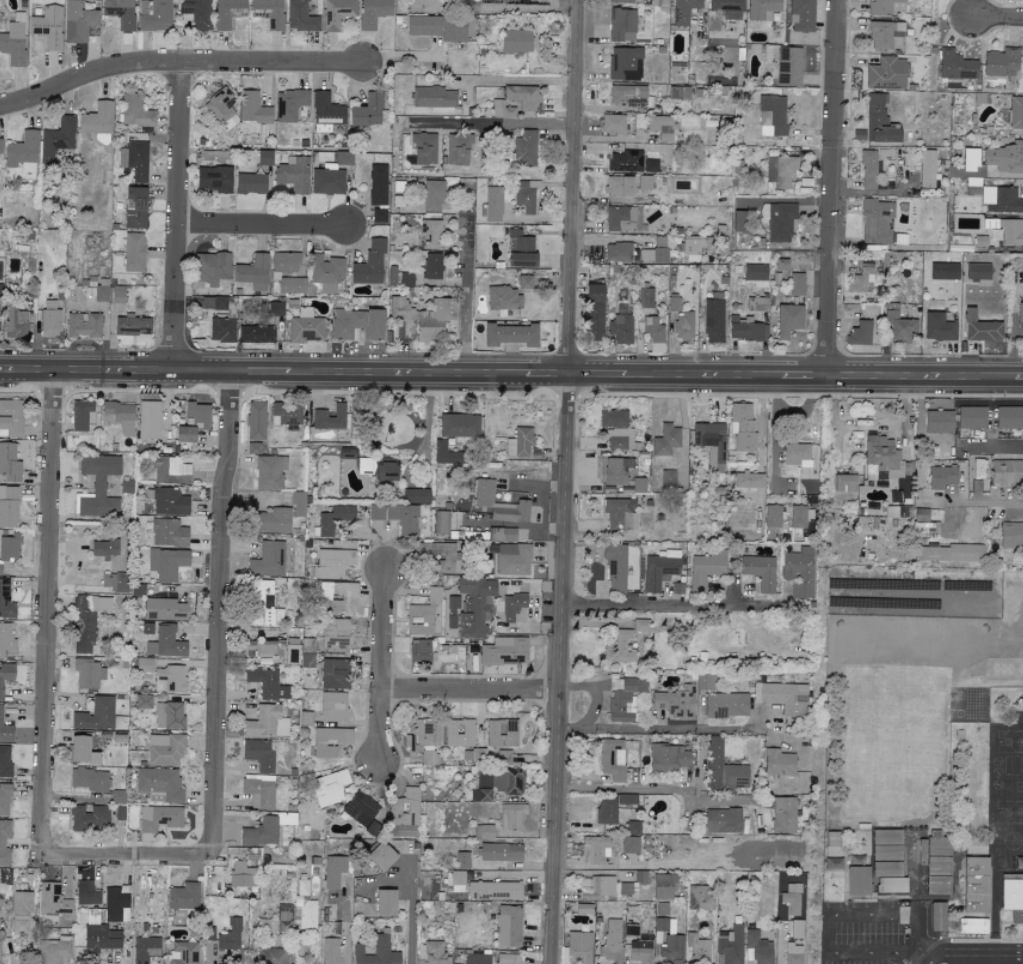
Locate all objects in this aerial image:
building: (504, 0)
building: (626, 1)
building: (426, 5)
building: (887, 6)
road: (525, 8)
building: (727, 8)
building: (762, 9)
building: (683, 11)
building: (120, 12)
building: (228, 12)
building: (268, 12)
building: (337, 12)
building: (373, 12)
building: (196, 13)
building: (155, 14)
building: (801, 15)
building: (300, 17)
road: (998, 19)
building: (77, 21)
building: (622, 24)
building: (48, 26)
building: (443, 27)
building: (884, 33)
building: (515, 40)
building: (1000, 62)
road: (176, 63)
building: (624, 63)
building: (788, 65)
building: (955, 65)
building: (886, 73)
road: (516, 81)
building: (674, 92)
building: (627, 95)
building: (523, 96)
building: (434, 97)
building: (289, 103)
building: (219, 105)
building: (252, 108)
building: (326, 109)
building: (501, 109)
building: (366, 110)
building: (133, 112)
building: (1015, 112)
building: (772, 115)
building: (97, 121)
building: (877, 121)
building: (613, 123)
road: (509, 124)
building: (661, 127)
building: (57, 138)
building: (424, 148)
building: (458, 148)
building: (524, 148)
building: (22, 152)
building: (264, 157)
building: (343, 157)
building: (1005, 157)
building: (134, 159)
building: (969, 159)
building: (625, 161)
building: (650, 165)
building: (926, 168)
building: (868, 169)
building: (780, 171)
building: (293, 174)
building: (213, 178)
building: (327, 181)
building: (644, 182)
building: (250, 183)
building: (377, 184)
building: (619, 185)
building: (973, 186)
road: (831, 189)
building: (433, 195)
building: (525, 195)
building: (1001, 200)
building: (493, 204)
building: (134, 207)
building: (379, 215)
road: (176, 218)
building: (620, 218)
building: (740, 220)
building: (778, 220)
building: (876, 221)
road: (260, 228)
building: (1006, 229)
building: (430, 233)
building: (980, 241)
building: (691, 248)
building: (520, 249)
building: (133, 251)
building: (618, 251)
building: (655, 251)
building: (369, 263)
building: (781, 264)
building: (431, 265)
building: (210, 267)
building: (944, 270)
building: (978, 271)
building: (326, 272)
building: (253, 273)
building: (275, 274)
building: (756, 274)
building: (392, 275)
building: (406, 278)
building: (861, 279)
building: (525, 281)
building: (796, 283)
building: (101, 293)
building: (118, 294)
road: (465, 294)
building: (503, 297)
building: (645, 298)
building: (757, 303)
building: (673, 304)
building: (594, 312)
building: (423, 316)
building: (713, 317)
building: (50, 319)
building: (220, 319)
building: (1020, 319)
building: (788, 320)
building: (15, 322)
building: (358, 323)
building: (899, 324)
building: (83, 325)
building: (132, 325)
building: (621, 325)
building: (683, 325)
building: (305, 327)
building: (938, 327)
building: (980, 328)
building: (746, 329)
building: (859, 333)
building: (255, 334)
building: (511, 334)
building: (653, 334)
road: (511, 376)
building: (83, 414)
building: (286, 415)
building: (118, 416)
building: (971, 417)
building: (1009, 417)
building: (11, 418)
building: (613, 418)
building: (149, 419)
building: (330, 419)
building: (256, 420)
building: (938, 421)
building: (193, 422)
building: (459, 425)
building: (742, 426)
road: (774, 430)
building: (615, 438)
building: (520, 442)
building: (664, 443)
building: (711, 443)
building: (253, 448)
building: (449, 454)
building: (796, 455)
building: (881, 456)
building: (9, 463)
building: (978, 468)
building: (379, 469)
building: (171, 470)
building: (615, 471)
building: (1006, 471)
building: (270, 472)
building: (942, 478)
building: (667, 479)
building: (748, 480)
road: (564, 482)
building: (844, 482)
building: (638, 485)
building: (97, 486)
building: (112, 486)
building: (126, 486)
building: (416, 496)
building: (168, 501)
building: (298, 503)
building: (499, 503)
building: (8, 506)
road: (1014, 508)
building: (897, 511)
building: (375, 512)
building: (620, 515)
building: (772, 515)
building: (925, 515)
building: (404, 519)
building: (798, 519)
building: (271, 520)
building: (454, 520)
building: (441, 522)
building: (326, 524)
building: (169, 532)
building: (503, 534)
building: (1011, 534)
building: (9, 548)
building: (105, 548)
building: (949, 553)
building: (439, 558)
building: (512, 558)
building: (268, 559)
building: (167, 563)
building: (333, 563)
building: (615, 567)
building: (659, 568)
building: (704, 570)
building: (761, 571)
building: (799, 571)
building: (116, 582)
building: (152, 588)
building: (677, 588)
building: (138, 590)
building: (336, 596)
building: (6, 600)
road: (49, 601)
building: (262, 605)
road: (667, 605)
road: (220, 606)
building: (513, 606)
building: (475, 607)
building: (165, 609)
building: (452, 612)
building: (423, 614)
building: (88, 620)
building: (640, 625)
building: (147, 629)
building: (335, 635)
building: (6, 639)
building: (166, 642)
building: (622, 646)
building: (264, 648)
building: (420, 651)
building: (504, 651)
building: (123, 664)
building: (145, 665)
road: (384, 667)
building: (88, 673)
building: (335, 674)
building: (6, 678)
building: (170, 680)
building: (704, 681)
building: (267, 683)
road: (472, 691)
building: (622, 697)
building: (783, 697)
building: (143, 702)
building: (675, 702)
building: (726, 705)
building: (333, 707)
building: (99, 716)
building: (169, 716)
building: (267, 723)
road: (655, 728)
building: (5, 731)
building: (460, 733)
building: (503, 733)
building: (119, 738)
building: (425, 739)
building: (331, 742)
building: (165, 750)
building: (82, 751)
building: (262, 754)
building: (503, 756)
building: (479, 757)
building: (668, 757)
building: (611, 758)
building: (5, 762)
building: (778, 762)
building: (722, 769)
building: (89, 780)
building: (502, 780)
building: (159, 786)
building: (330, 788)
building: (259, 791)
road: (623, 792)
building: (477, 795)
building: (118, 797)
building: (626, 798)
building: (5, 799)
building: (361, 809)
building: (606, 810)
building: (120, 814)
building: (405, 814)
building: (783, 815)
building: (513, 817)
building: (89, 818)
building: (159, 818)
building: (722, 821)
building: (633, 827)
building: (374, 829)
building: (267, 830)
building: (483, 831)
building: (886, 836)
building: (832, 839)
building: (2, 844)
building: (630, 844)
building: (932, 848)
building: (596, 849)
building: (886, 852)
building: (500, 853)
road: (126, 855)
building: (382, 857)
building: (462, 860)
building: (938, 865)
building: (886, 869)
building: (334, 871)
building: (242, 875)
building: (456, 881)
building: (857, 881)
building: (975, 884)
building: (891, 885)
building: (937, 885)
building: (597, 887)
building: (663, 887)
building: (624, 888)
building: (495, 891)
building: (87, 894)
building: (699, 898)
building: (792, 898)
building: (183, 899)
building: (1012, 899)
building: (53, 902)
building: (386, 903)
building: (117, 904)
building: (304, 907)
building: (583, 908)
building: (662, 908)
building: (21, 910)
road: (410, 914)
road: (836, 915)
building: (938, 916)
building: (284, 920)
road: (345, 923)
building: (664, 925)
building: (507, 926)
building: (971, 926)
building: (631, 929)
building: (797, 929)
parking lot: (868, 933)
building: (99, 934)
building: (230, 936)
building: (611, 941)
building: (730, 944)
building: (579, 947)
building: (698, 947)
building: (757, 948)
building: (146, 949)
building: (672, 949)
building: (54, 950)
building: (331, 951)
building: (377, 951)
building: (640, 951)
building: (793, 952)
building: (184, 953)
building: (433, 953)
road: (974, 956)
building: (273, 957)
building: (477, 957)
building: (509, 959)

